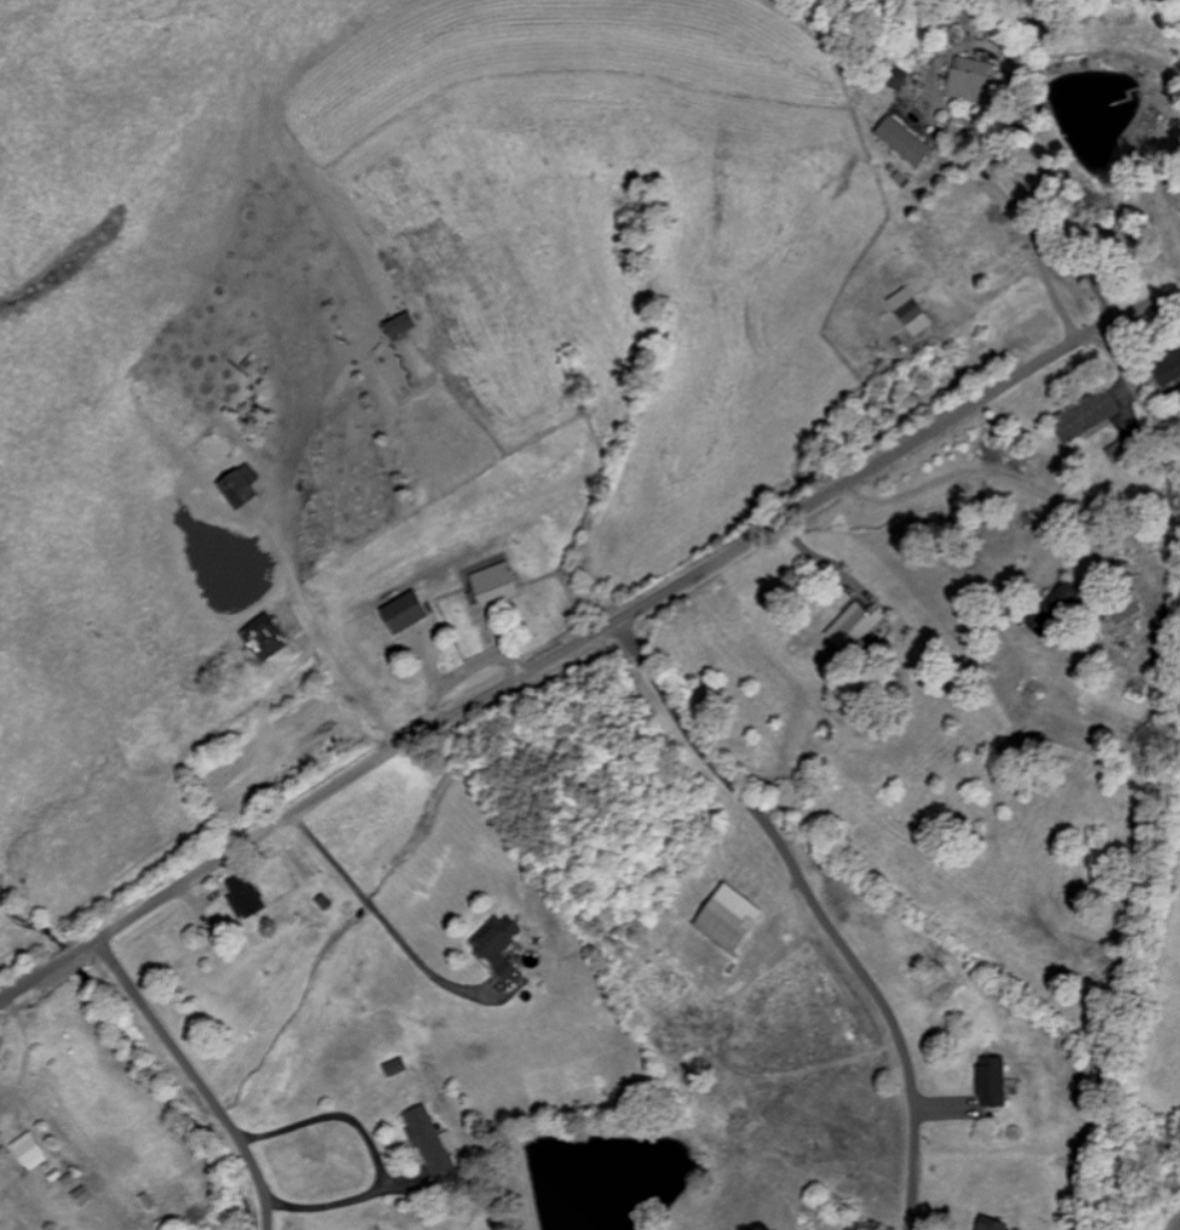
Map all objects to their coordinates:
building: (895, 77)
building: (970, 80)
building: (901, 140)
building: (909, 312)
building: (1165, 367)
road: (1134, 389)
building: (1082, 415)
building: (237, 487)
building: (492, 584)
building: (1050, 603)
building: (401, 611)
road: (617, 621)
building: (852, 625)
building: (262, 637)
building: (789, 795)
building: (242, 893)
road: (815, 907)
building: (726, 916)
building: (496, 944)
road: (31, 981)
building: (394, 1065)
road: (197, 1076)
building: (990, 1080)
building: (429, 1138)
building: (28, 1150)
building: (80, 1195)
building: (990, 1224)

